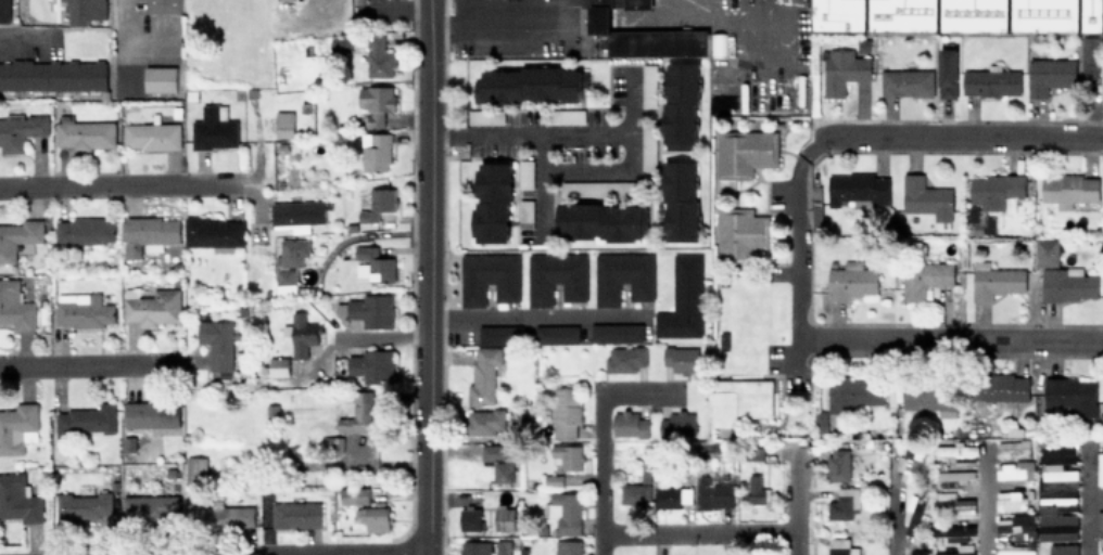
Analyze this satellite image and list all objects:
building: (637, 3)
road: (569, 4)
building: (162, 5)
building: (97, 9)
building: (4, 10)
building: (78, 12)
building: (838, 14)
building: (902, 14)
building: (974, 15)
building: (1044, 15)
building: (1092, 15)
road: (497, 18)
road: (125, 27)
road: (45, 37)
building: (644, 37)
building: (340, 43)
building: (379, 57)
building: (1091, 62)
building: (844, 69)
building: (52, 73)
building: (948, 73)
building: (1050, 75)
building: (160, 78)
building: (907, 81)
building: (991, 81)
building: (528, 83)
building: (648, 85)
building: (376, 102)
building: (680, 104)
building: (484, 116)
building: (281, 124)
building: (214, 128)
building: (21, 129)
building: (85, 132)
building: (151, 135)
road: (503, 135)
road: (438, 137)
road: (954, 138)
road: (1102, 138)
building: (648, 145)
building: (375, 151)
building: (744, 153)
building: (524, 173)
road: (608, 177)
road: (115, 183)
building: (598, 188)
building: (1069, 188)
building: (859, 190)
building: (994, 190)
building: (926, 197)
building: (680, 199)
building: (491, 201)
building: (378, 203)
building: (524, 212)
building: (297, 214)
building: (598, 220)
building: (85, 231)
building: (212, 232)
building: (149, 233)
building: (741, 233)
building: (18, 236)
road: (793, 236)
building: (293, 250)
building: (1047, 251)
building: (373, 263)
building: (556, 275)
building: (622, 275)
road: (428, 276)
road: (443, 276)
building: (487, 276)
building: (924, 277)
building: (286, 281)
road: (411, 281)
building: (850, 281)
building: (996, 281)
building: (1068, 284)
building: (682, 298)
building: (15, 306)
building: (152, 306)
building: (83, 309)
building: (371, 310)
road: (528, 315)
building: (616, 332)
building: (556, 333)
building: (302, 334)
building: (499, 334)
road: (950, 339)
building: (217, 346)
building: (625, 358)
building: (680, 360)
road: (84, 362)
building: (278, 365)
building: (371, 365)
building: (484, 372)
building: (1000, 389)
building: (853, 395)
building: (1072, 395)
building: (927, 398)
building: (738, 400)
building: (566, 411)
building: (151, 413)
building: (359, 414)
building: (86, 420)
building: (484, 421)
building: (629, 423)
building: (677, 424)
building: (17, 427)
building: (1011, 448)
building: (958, 451)
building: (1060, 452)
building: (566, 455)
building: (498, 461)
building: (838, 464)
building: (910, 464)
building: (195, 468)
building: (1100, 468)
building: (1014, 469)
building: (1057, 472)
road: (599, 476)
building: (953, 477)
building: (636, 491)
building: (755, 491)
building: (714, 492)
building: (353, 495)
building: (672, 495)
building: (18, 499)
road: (1094, 499)
building: (1010, 500)
road: (981, 501)
building: (845, 503)
building: (1056, 503)
road: (1085, 503)
building: (952, 504)
road: (794, 505)
building: (83, 506)
building: (150, 507)
road: (895, 509)
building: (565, 511)
building: (295, 514)
building: (913, 514)
building: (225, 517)
building: (375, 517)
building: (469, 518)
building: (504, 518)
building: (1016, 522)
building: (1100, 522)
building: (1057, 527)
road: (696, 531)
building: (954, 531)
building: (503, 546)
building: (841, 546)
building: (476, 547)
building: (567, 547)
building: (1064, 548)
building: (959, 550)
building: (1015, 550)
building: (916, 552)
road: (334, 553)
building: (1102, 554)

